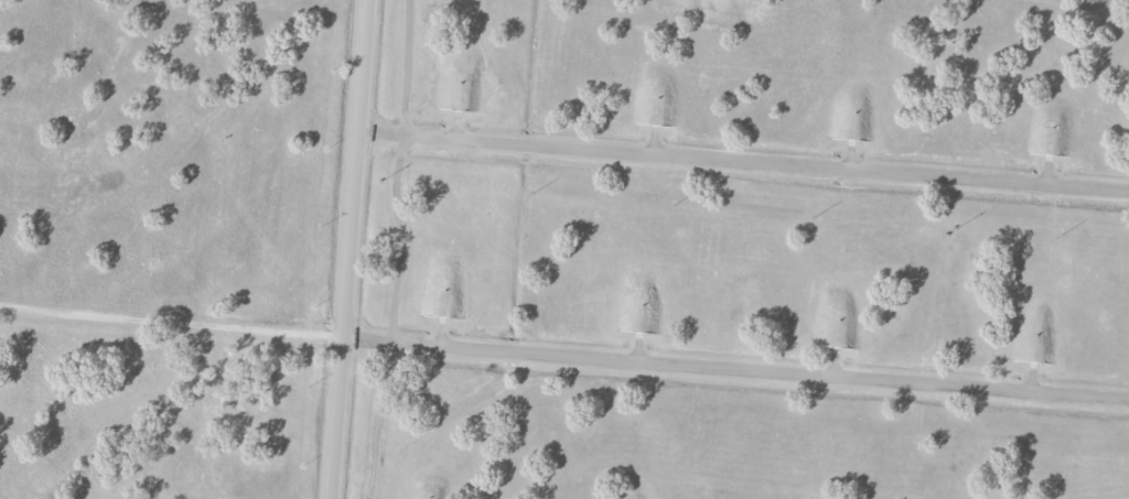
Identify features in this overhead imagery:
road: (743, 160)
road: (398, 172)
road: (348, 249)
road: (563, 356)

